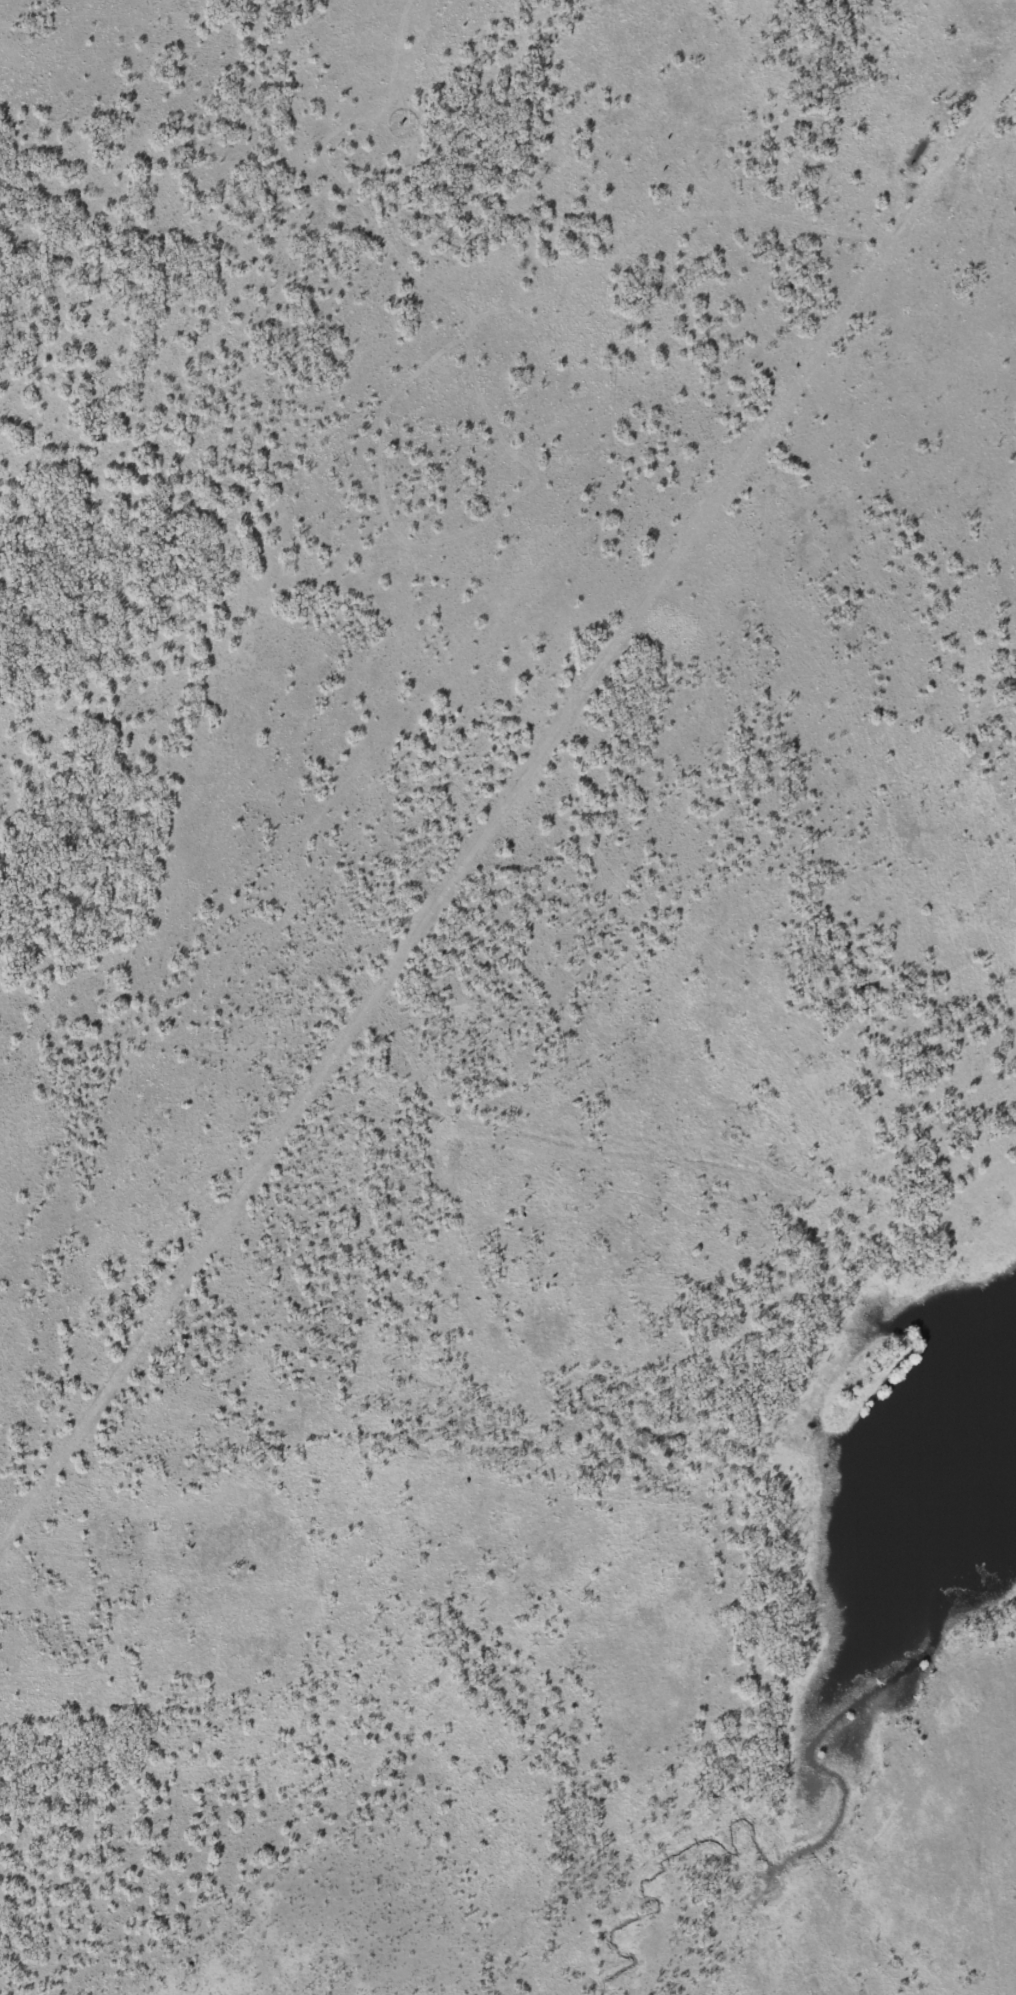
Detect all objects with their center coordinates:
road: (722, 687)

